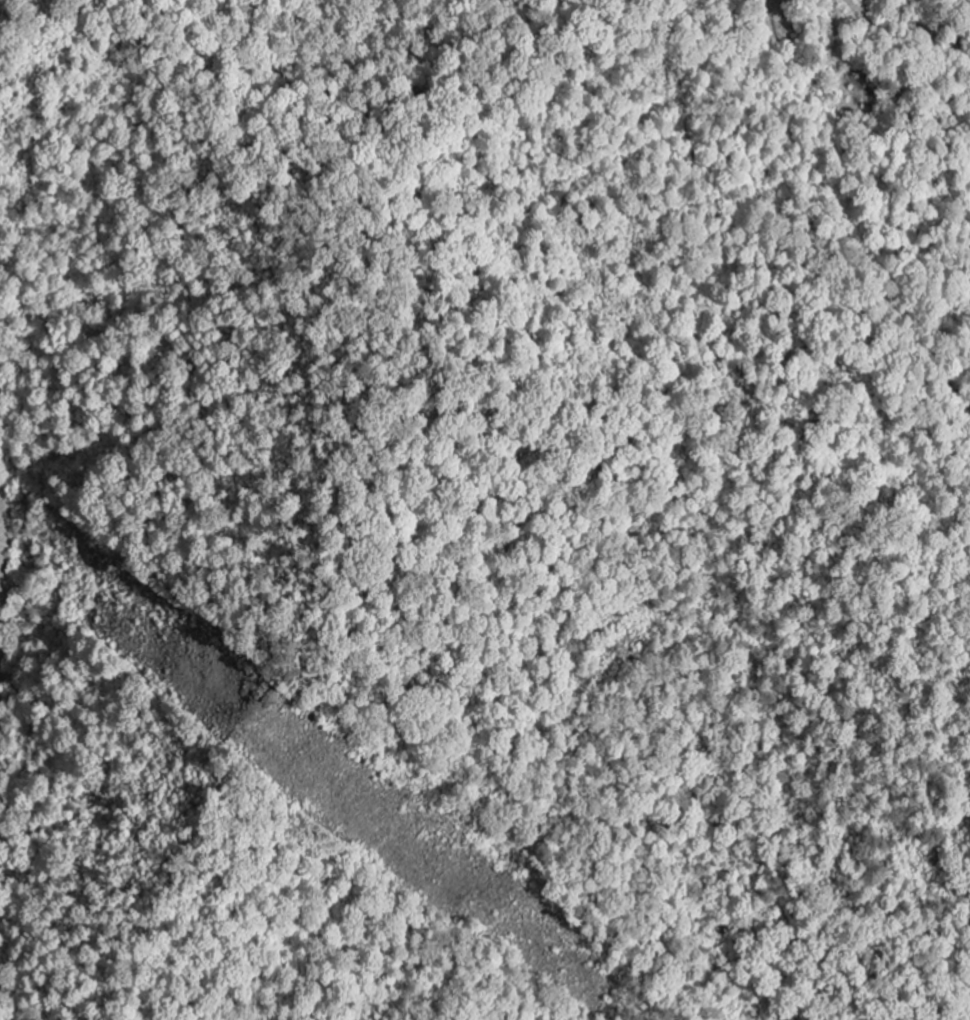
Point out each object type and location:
road: (930, 31)
power tower: (232, 722)

